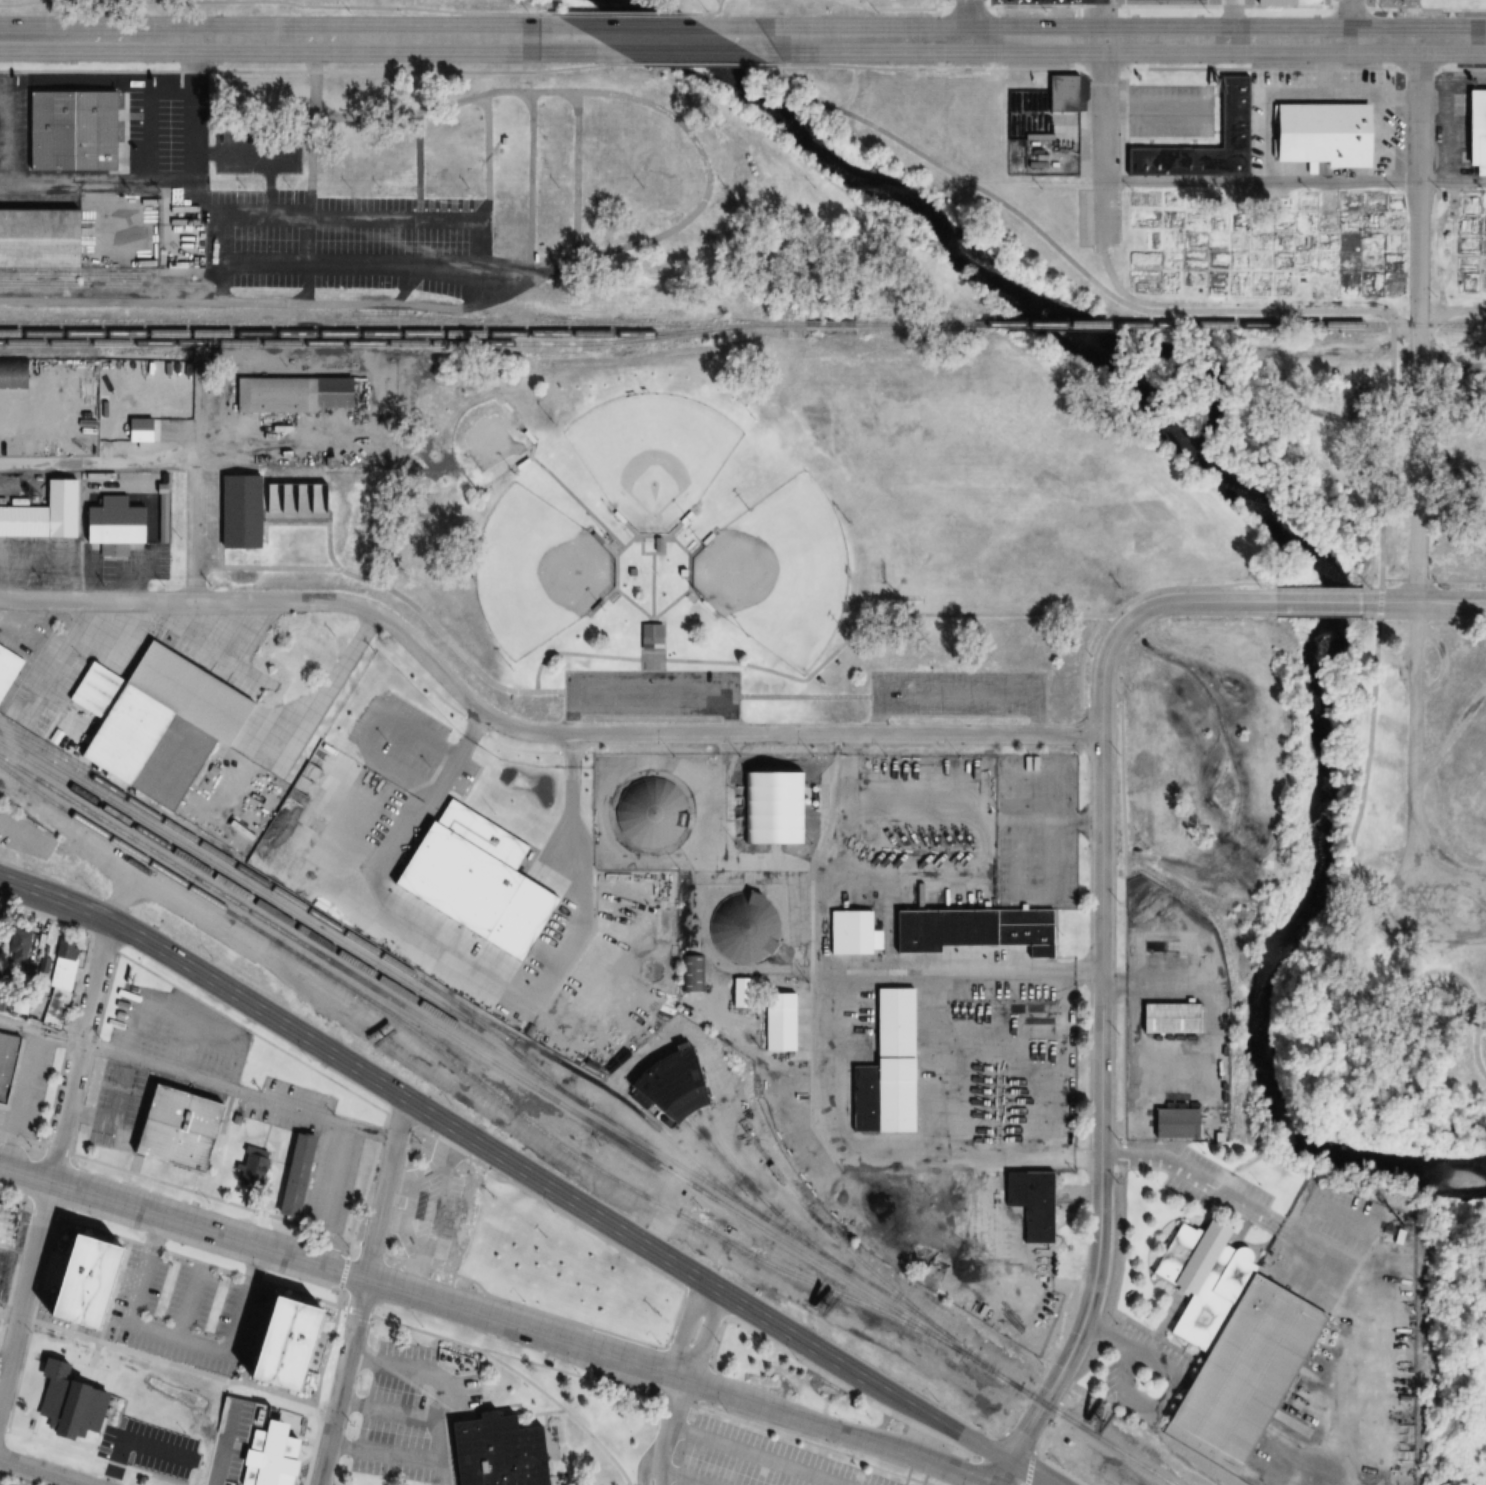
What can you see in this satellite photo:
road: (269, 2)
building: (1287, 2)
park: (510, 4)
road: (943, 4)
road: (895, 9)
road: (617, 14)
road: (712, 14)
road: (970, 20)
road: (1353, 20)
road: (270, 38)
road: (654, 39)
road: (869, 40)
road: (1227, 41)
road: (705, 62)
road: (926, 68)
road: (319, 70)
road: (852, 91)
building: (1060, 92)
building: (1229, 112)
building: (1474, 130)
building: (66, 133)
building: (1319, 133)
road: (1104, 142)
road: (1418, 161)
road: (100, 182)
road: (1295, 182)
building: (38, 240)
crop: (1265, 243)
crop: (1471, 245)
railway: (73, 273)
railway: (101, 284)
road: (151, 299)
railway: (423, 315)
railway: (553, 317)
railway: (399, 323)
railway: (827, 325)
railway: (932, 325)
railway: (1072, 326)
railway: (1254, 326)
railway: (740, 327)
railway: (1430, 327)
railway: (341, 334)
railway: (341, 345)
road: (1393, 355)
building: (12, 373)
building: (290, 394)
building: (136, 429)
road: (1417, 442)
park: (651, 455)
building: (160, 481)
building: (257, 506)
building: (42, 513)
park: (885, 515)
road: (598, 522)
building: (110, 524)
river: (1287, 530)
road: (194, 533)
park: (536, 571)
park: (778, 572)
road: (652, 579)
road: (1394, 580)
road: (1418, 581)
road: (1458, 581)
road: (406, 600)
road: (1318, 602)
road: (1425, 603)
road: (665, 608)
road: (1139, 611)
road: (881, 616)
building: (648, 637)
road: (1081, 660)
building: (6, 666)
parking lot: (650, 693)
road: (649, 694)
road: (957, 695)
parking lot: (958, 695)
road: (804, 696)
road: (1100, 703)
building: (143, 724)
road: (527, 731)
building: (769, 808)
building: (649, 813)
storage tank: (649, 813)
railway: (211, 851)
building: (486, 879)
railway: (251, 888)
building: (389, 889)
railway: (268, 923)
building: (742, 927)
storage tank: (742, 927)
building: (939, 930)
building: (688, 980)
building: (55, 994)
railway: (462, 1011)
road: (1124, 1012)
building: (1167, 1018)
building: (777, 1022)
railway: (465, 1032)
road: (78, 1052)
building: (5, 1062)
railway: (451, 1062)
railway: (533, 1068)
building: (885, 1068)
road: (198, 1081)
building: (670, 1083)
railway: (599, 1085)
road: (79, 1107)
road: (1102, 1107)
road: (444, 1123)
building: (1171, 1124)
building: (172, 1130)
road: (406, 1144)
railway: (727, 1155)
railway: (722, 1160)
building: (250, 1167)
road: (1201, 1173)
road: (25, 1174)
building: (291, 1176)
building: (1028, 1203)
building: (447, 1220)
building: (7, 1223)
road: (89, 1226)
railway: (830, 1234)
railway: (806, 1241)
parking lot: (1328, 1241)
road: (367, 1245)
building: (134, 1255)
parking lot: (4, 1261)
road: (14, 1275)
road: (365, 1279)
building: (87, 1281)
railway: (851, 1286)
road: (25, 1292)
road: (363, 1293)
building: (201, 1294)
road: (189, 1310)
building: (256, 1310)
road: (0, 1311)
parking lot: (184, 1314)
road: (16, 1316)
building: (124, 1324)
building: (318, 1327)
road: (686, 1329)
building: (1227, 1335)
road: (705, 1338)
road: (179, 1342)
building: (285, 1344)
building: (153, 1346)
road: (474, 1349)
railway: (968, 1353)
building: (234, 1357)
road: (173, 1362)
road: (438, 1386)
building: (67, 1403)
road: (388, 1408)
road: (706, 1410)
parking lot: (410, 1414)
road: (669, 1414)
road: (794, 1416)
road: (945, 1422)
building: (282, 1424)
road: (976, 1427)
road: (1042, 1430)
road: (127, 1438)
parking lot: (227, 1440)
road: (1021, 1441)
building: (224, 1443)
road: (222, 1445)
parking lot: (151, 1446)
building: (492, 1452)
road: (759, 1455)
building: (268, 1456)
road: (385, 1456)
parking lot: (757, 1460)
road: (647, 1465)
road: (1029, 1466)
road: (662, 1467)
road: (946, 1469)
road: (43, 1471)
road: (1003, 1472)
road: (1030, 1472)
road: (686, 1477)

